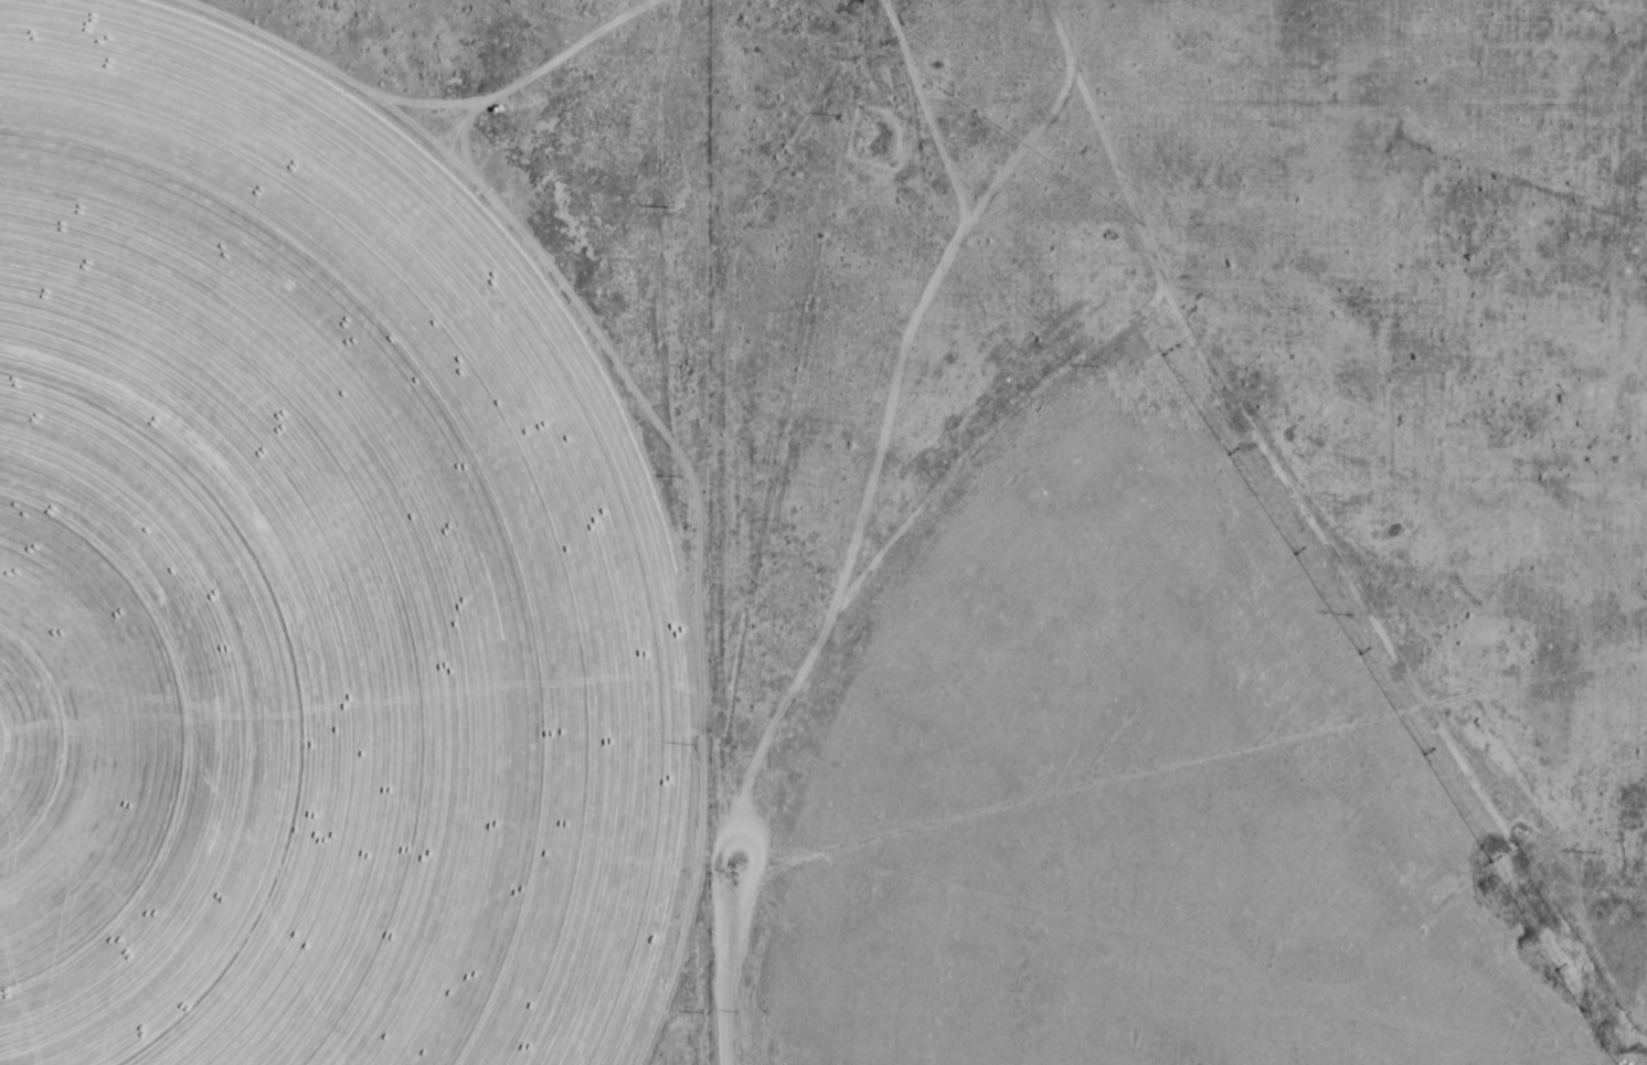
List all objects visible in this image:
power tower: (670, 206)
power tower: (679, 476)
power tower: (694, 743)
power tower: (703, 1011)

